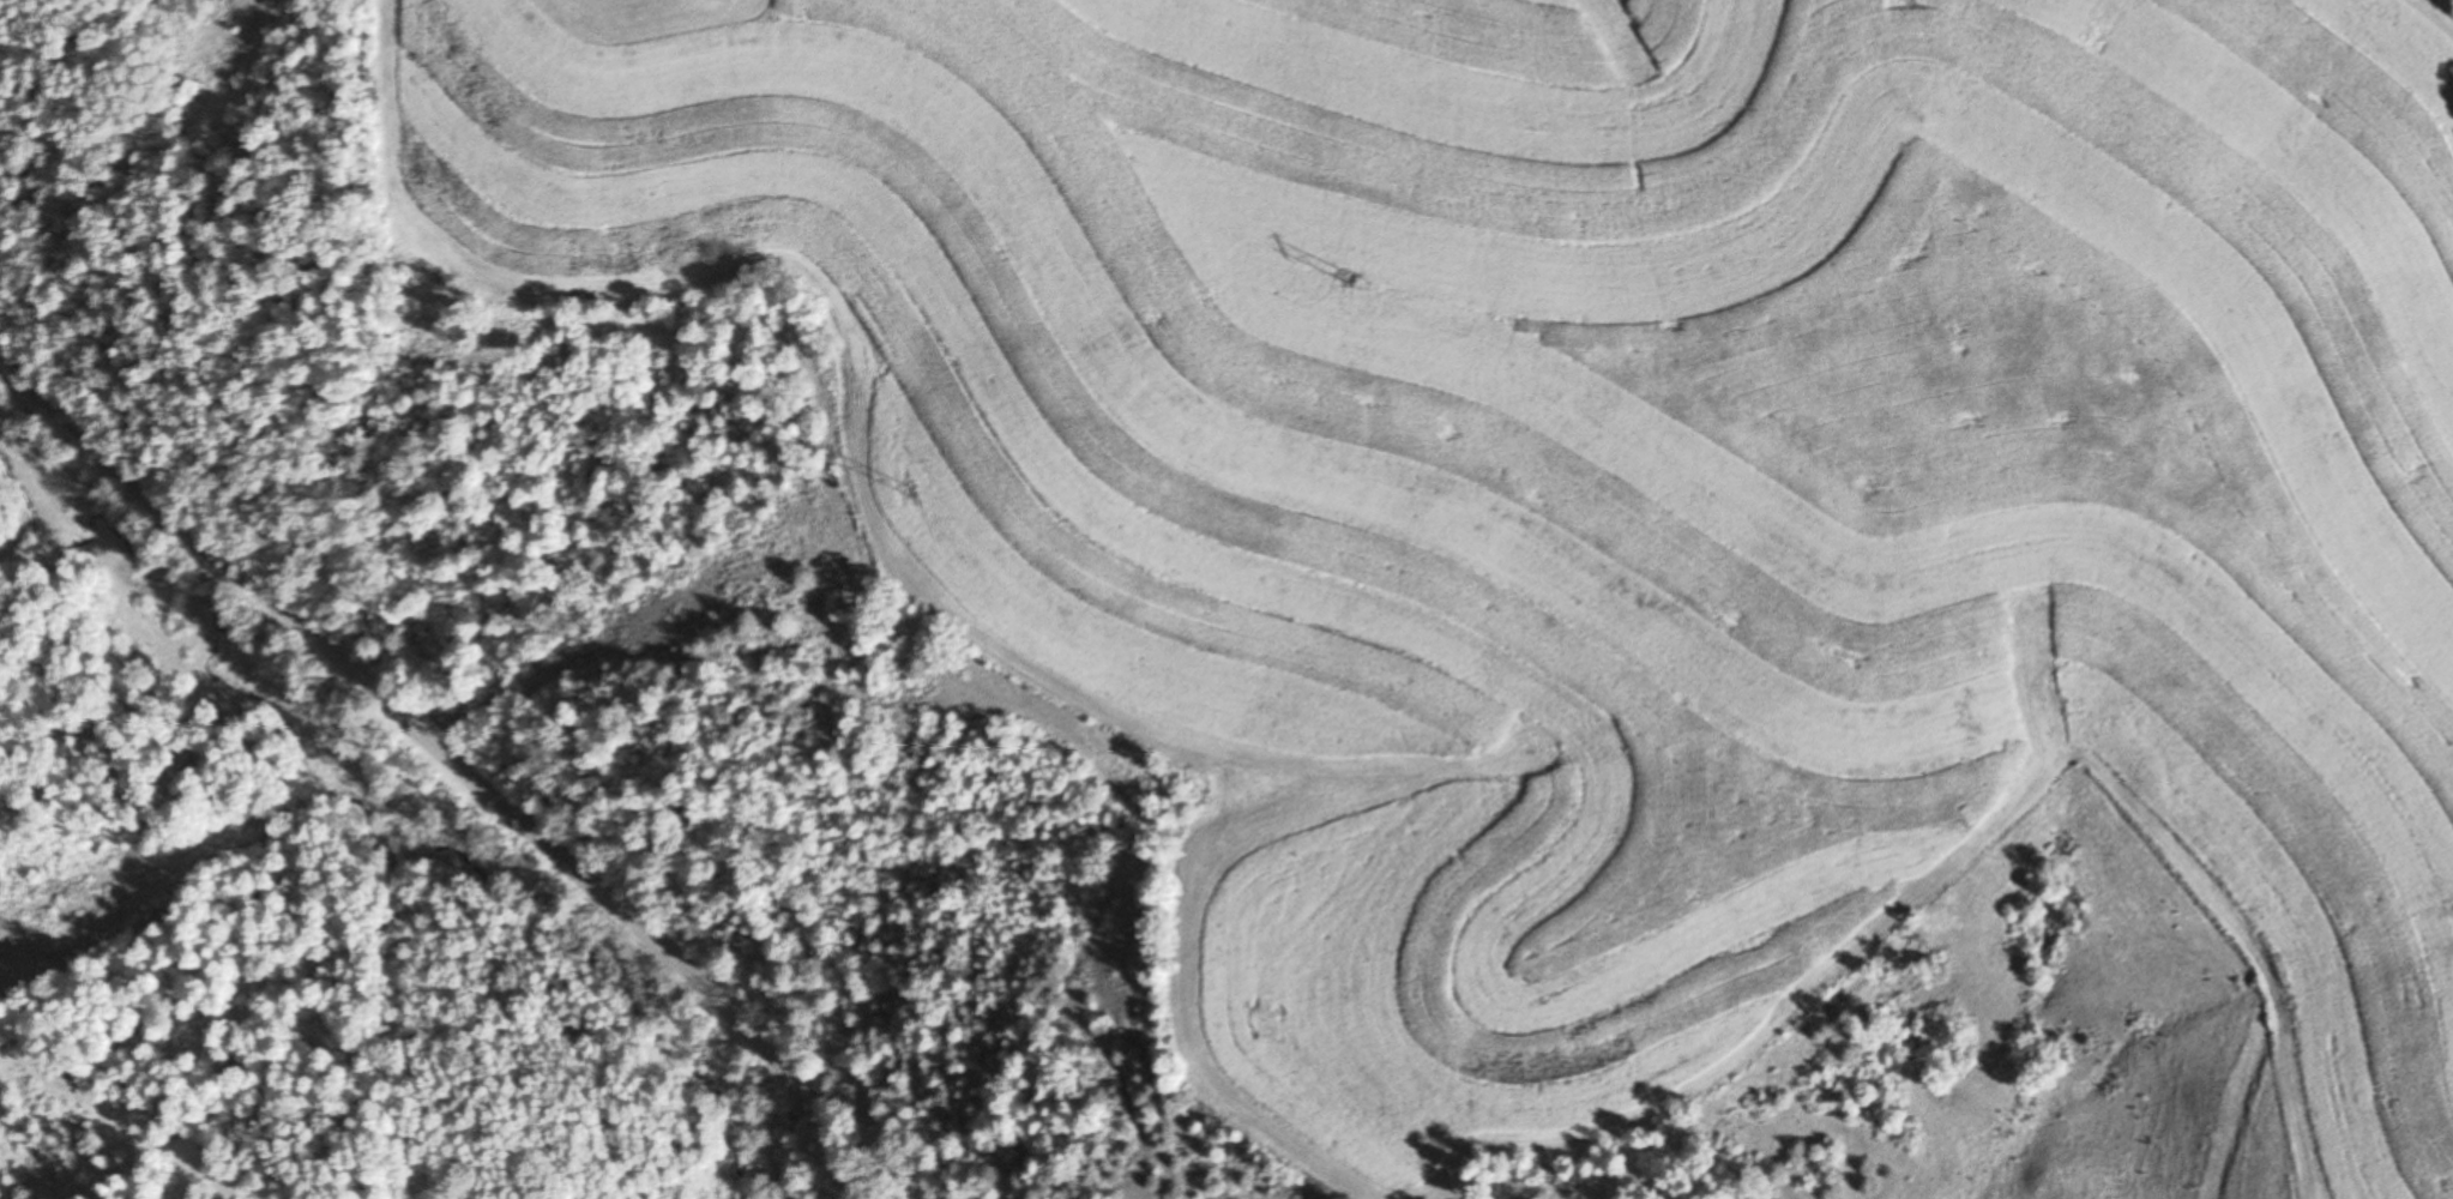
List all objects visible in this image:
power tower: (1909, 0)
power tower: (1346, 276)
crop: (1598, 436)
power tower: (910, 492)
road: (446, 754)
power tower: (23, 930)

